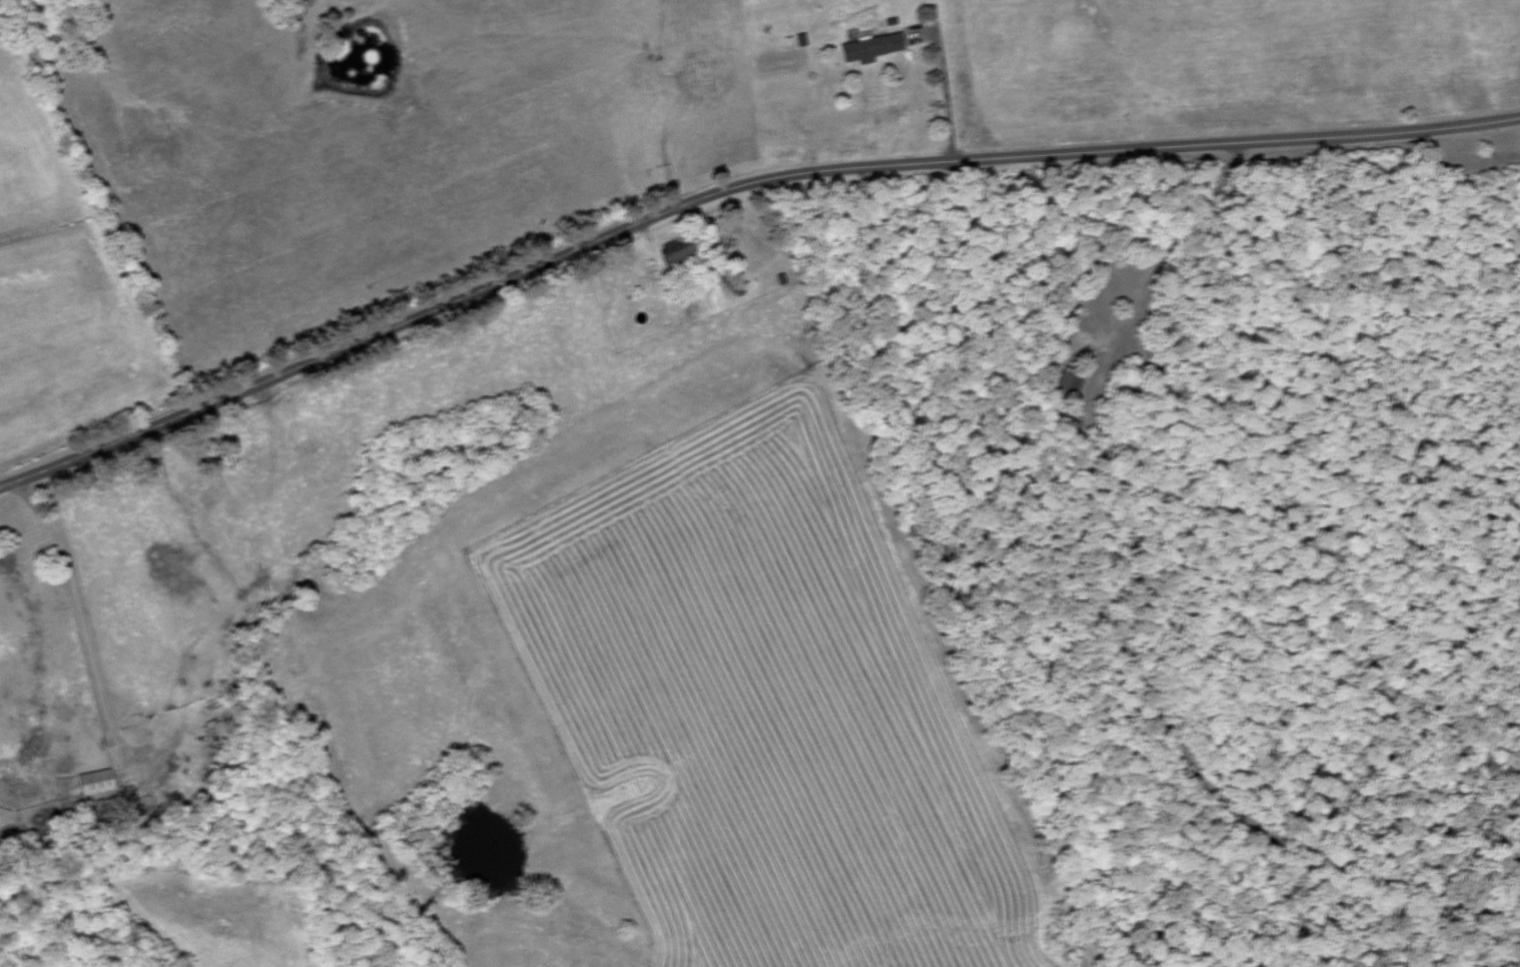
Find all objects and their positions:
road: (732, 189)
building: (1066, 388)
building: (97, 784)

